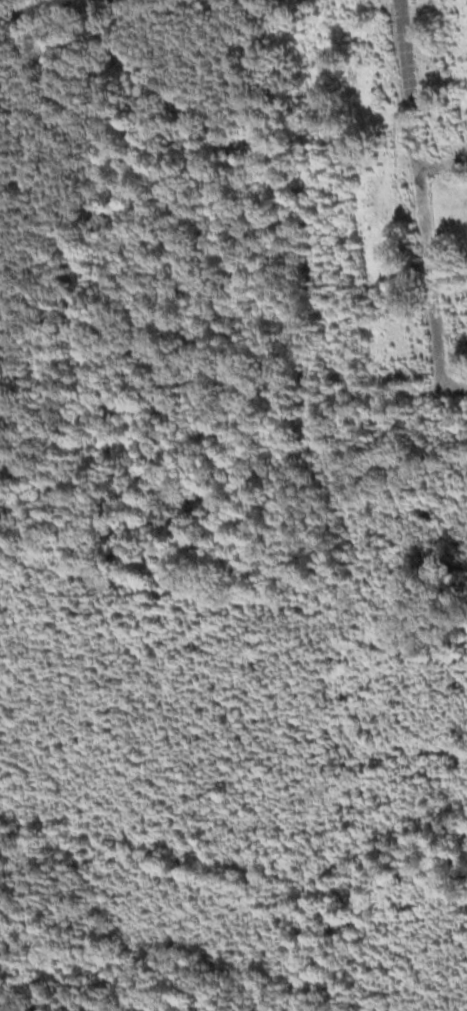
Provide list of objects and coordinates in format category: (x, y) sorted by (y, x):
road: (441, 163)
road: (418, 194)
road: (454, 387)

